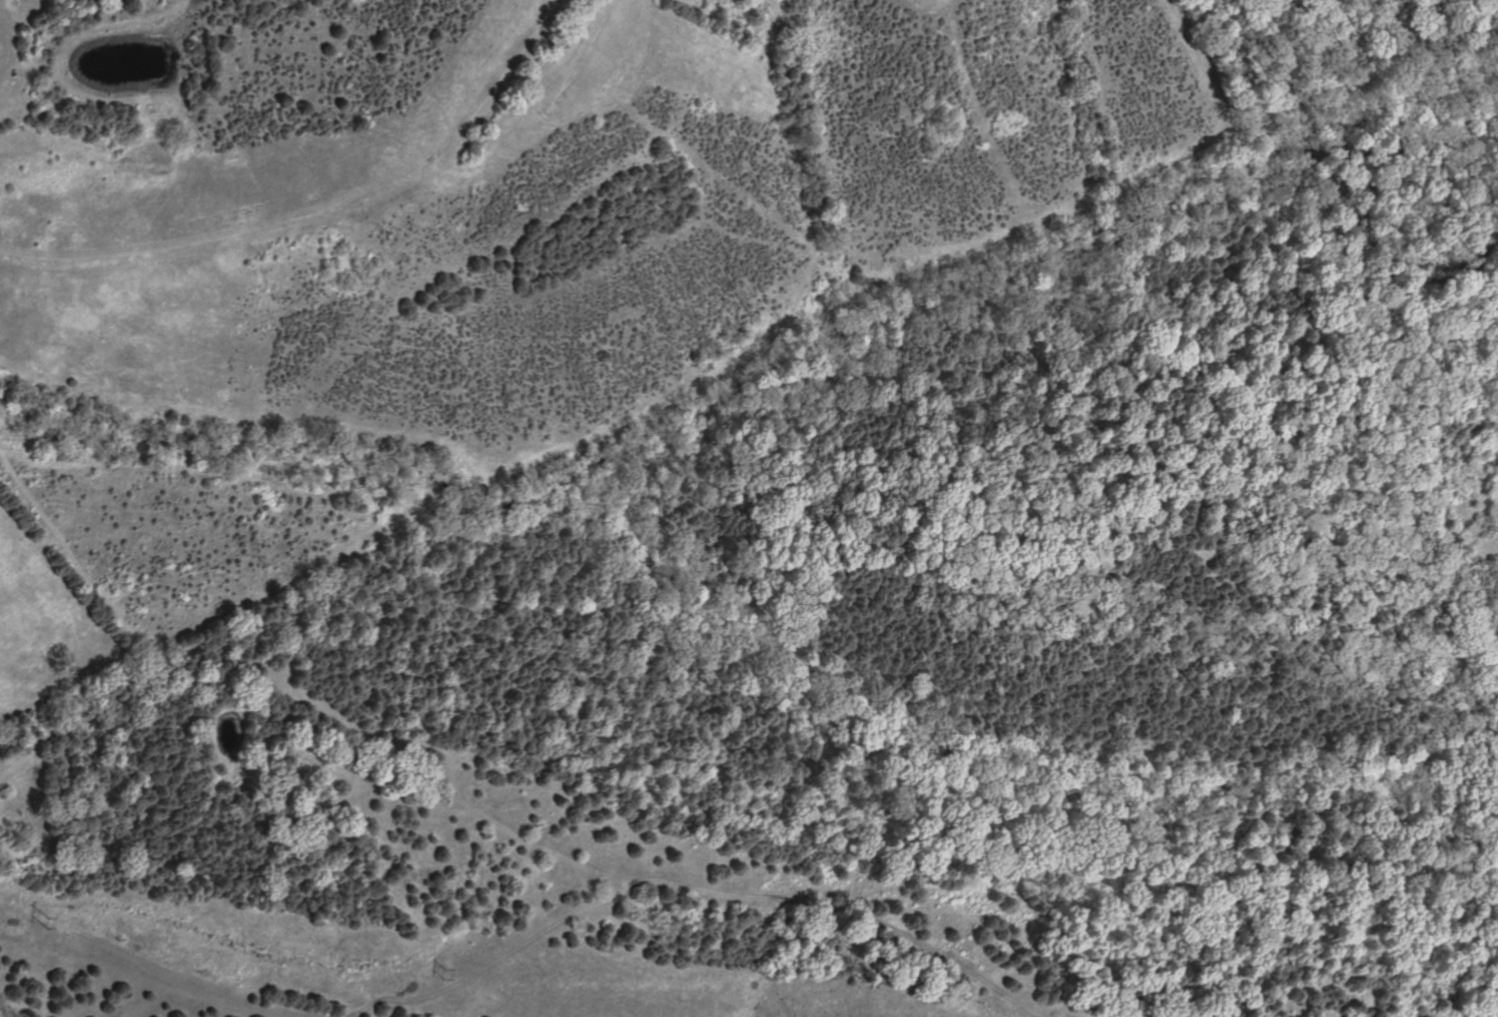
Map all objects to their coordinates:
road: (242, 235)
power tower: (54, 926)
power tower: (447, 975)

